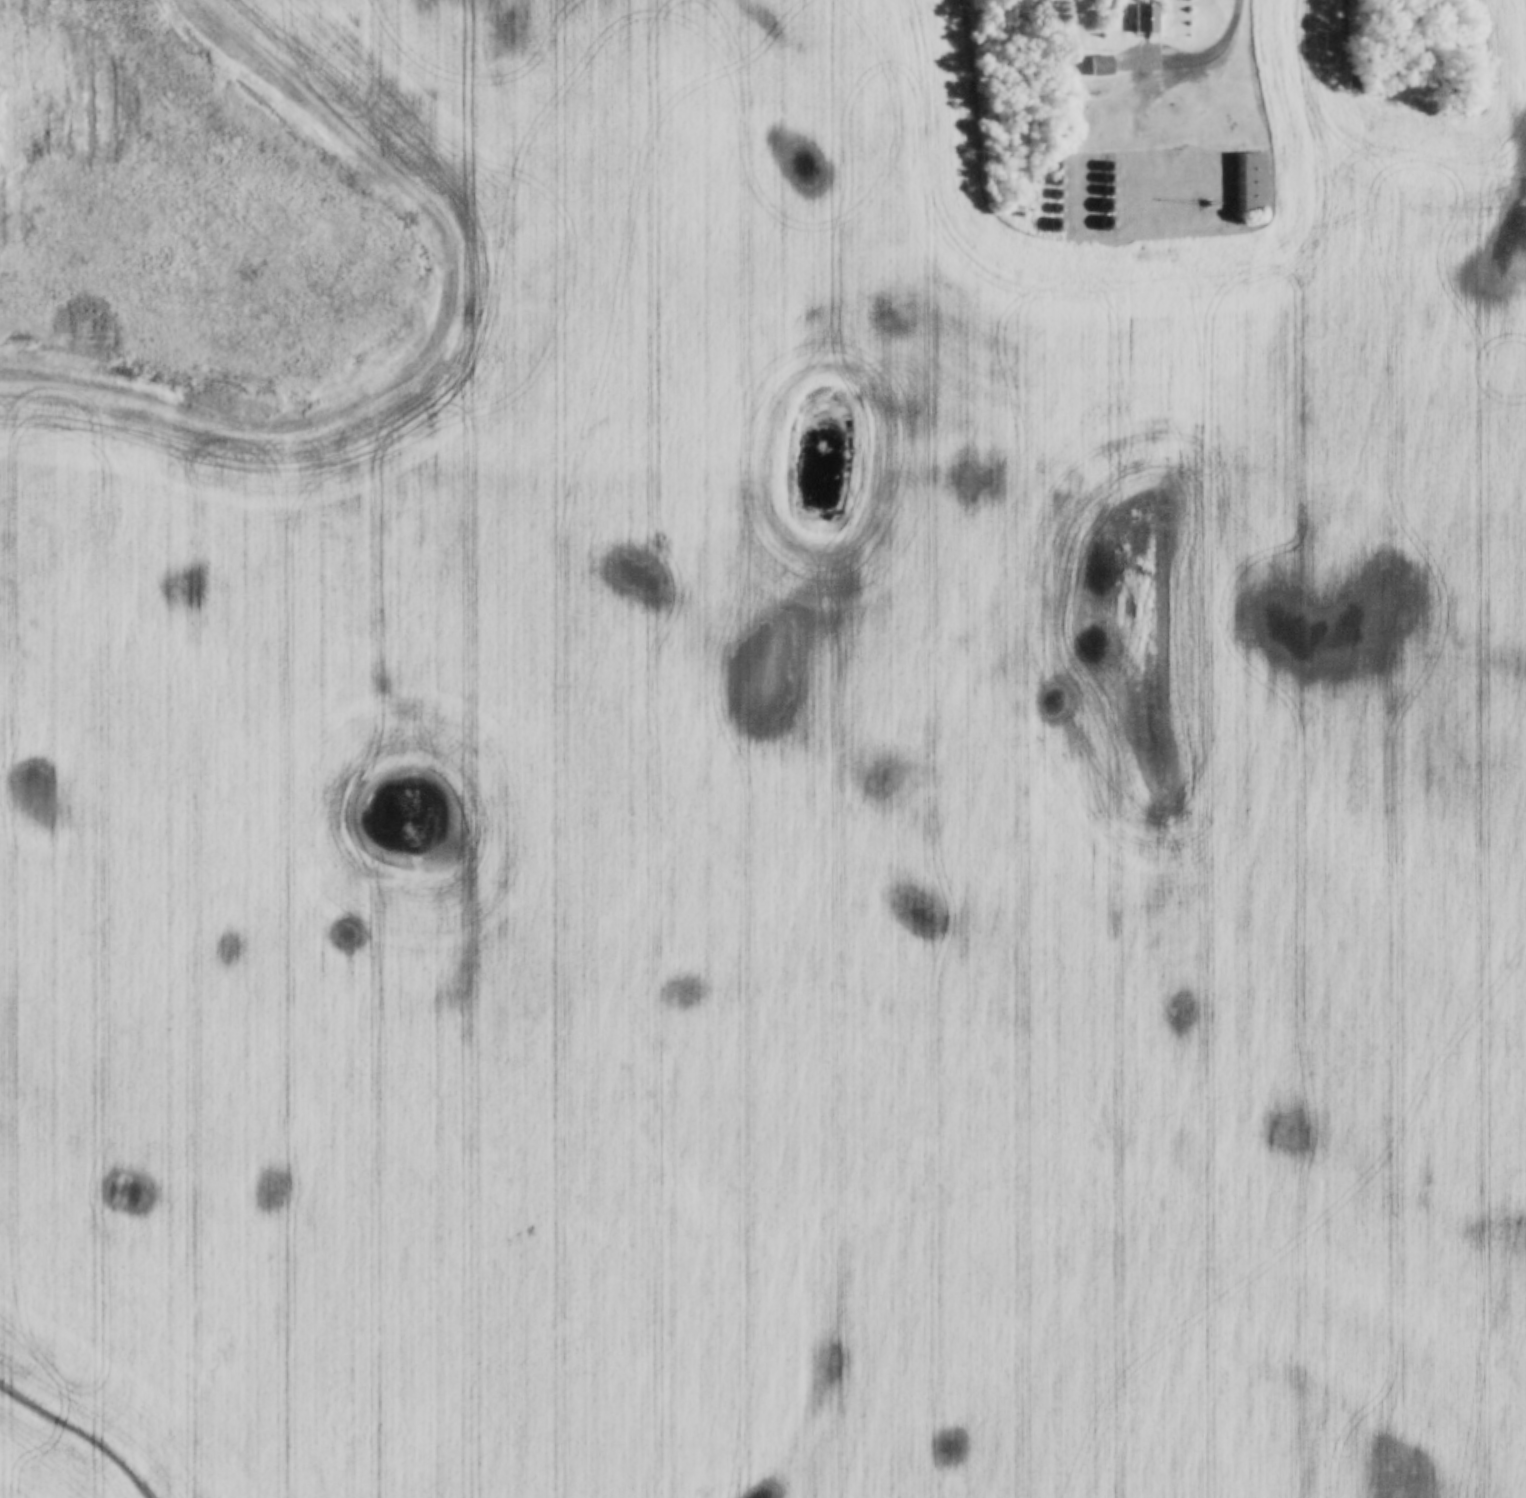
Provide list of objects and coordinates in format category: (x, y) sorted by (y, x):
building: (1145, 19)
road: (1201, 56)
building: (1100, 66)
building: (1252, 183)
building: (1055, 225)

